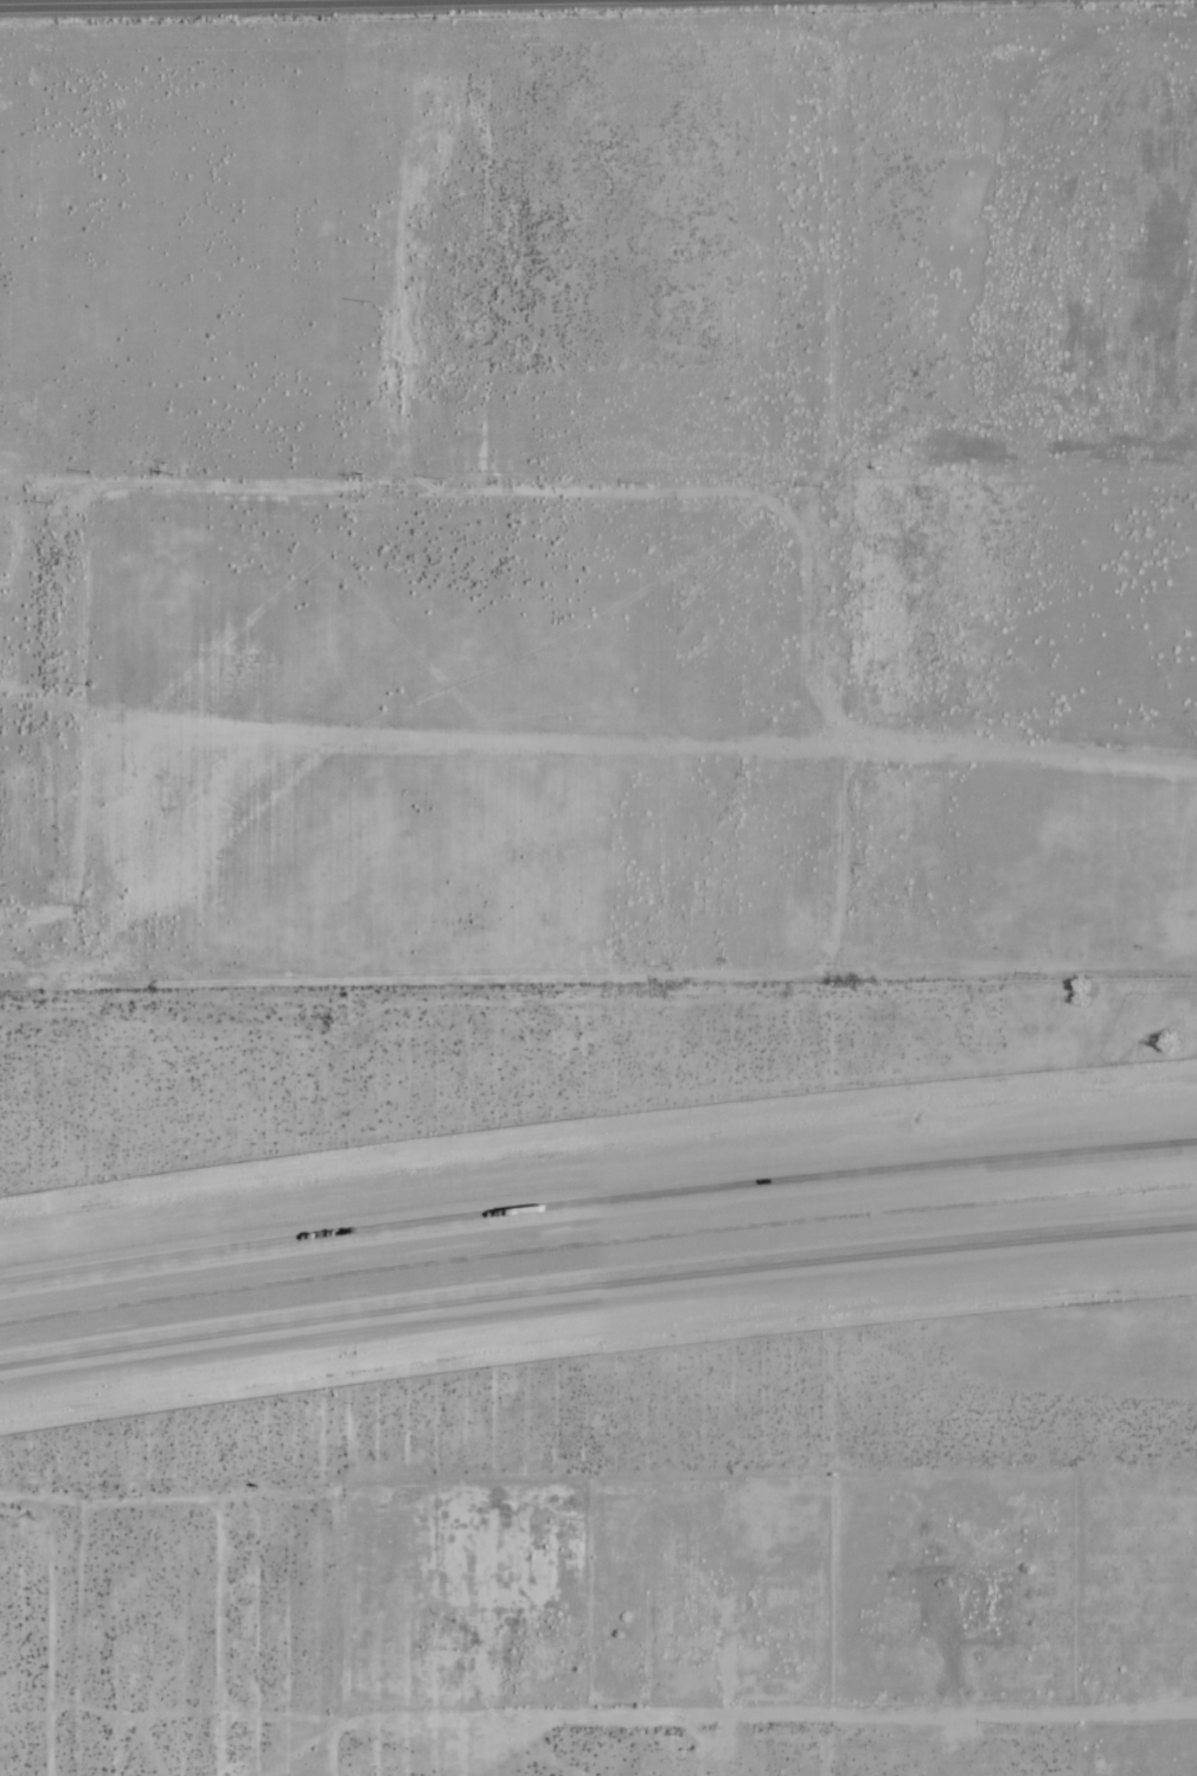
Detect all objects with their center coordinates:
road: (168, 2)
road: (597, 1205)
road: (596, 1280)

